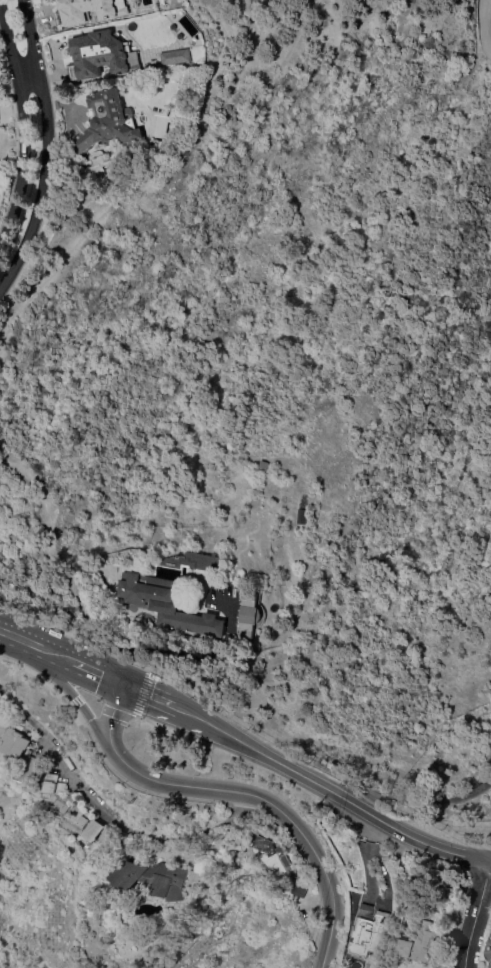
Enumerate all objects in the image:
building: (91, 10)
building: (102, 55)
road: (23, 72)
building: (110, 121)
road: (22, 126)
road: (44, 146)
building: (101, 160)
building: (265, 464)
building: (301, 516)
building: (187, 564)
building: (168, 604)
building: (252, 614)
road: (34, 642)
road: (97, 669)
traffic signals: (127, 682)
road: (151, 693)
road: (76, 695)
building: (10, 735)
building: (31, 770)
road: (329, 791)
road: (247, 793)
road: (423, 794)
building: (65, 803)
road: (108, 814)
building: (101, 831)
building: (275, 857)
building: (157, 878)
building: (300, 889)
road: (479, 924)
building: (376, 928)
building: (423, 942)
building: (489, 950)

